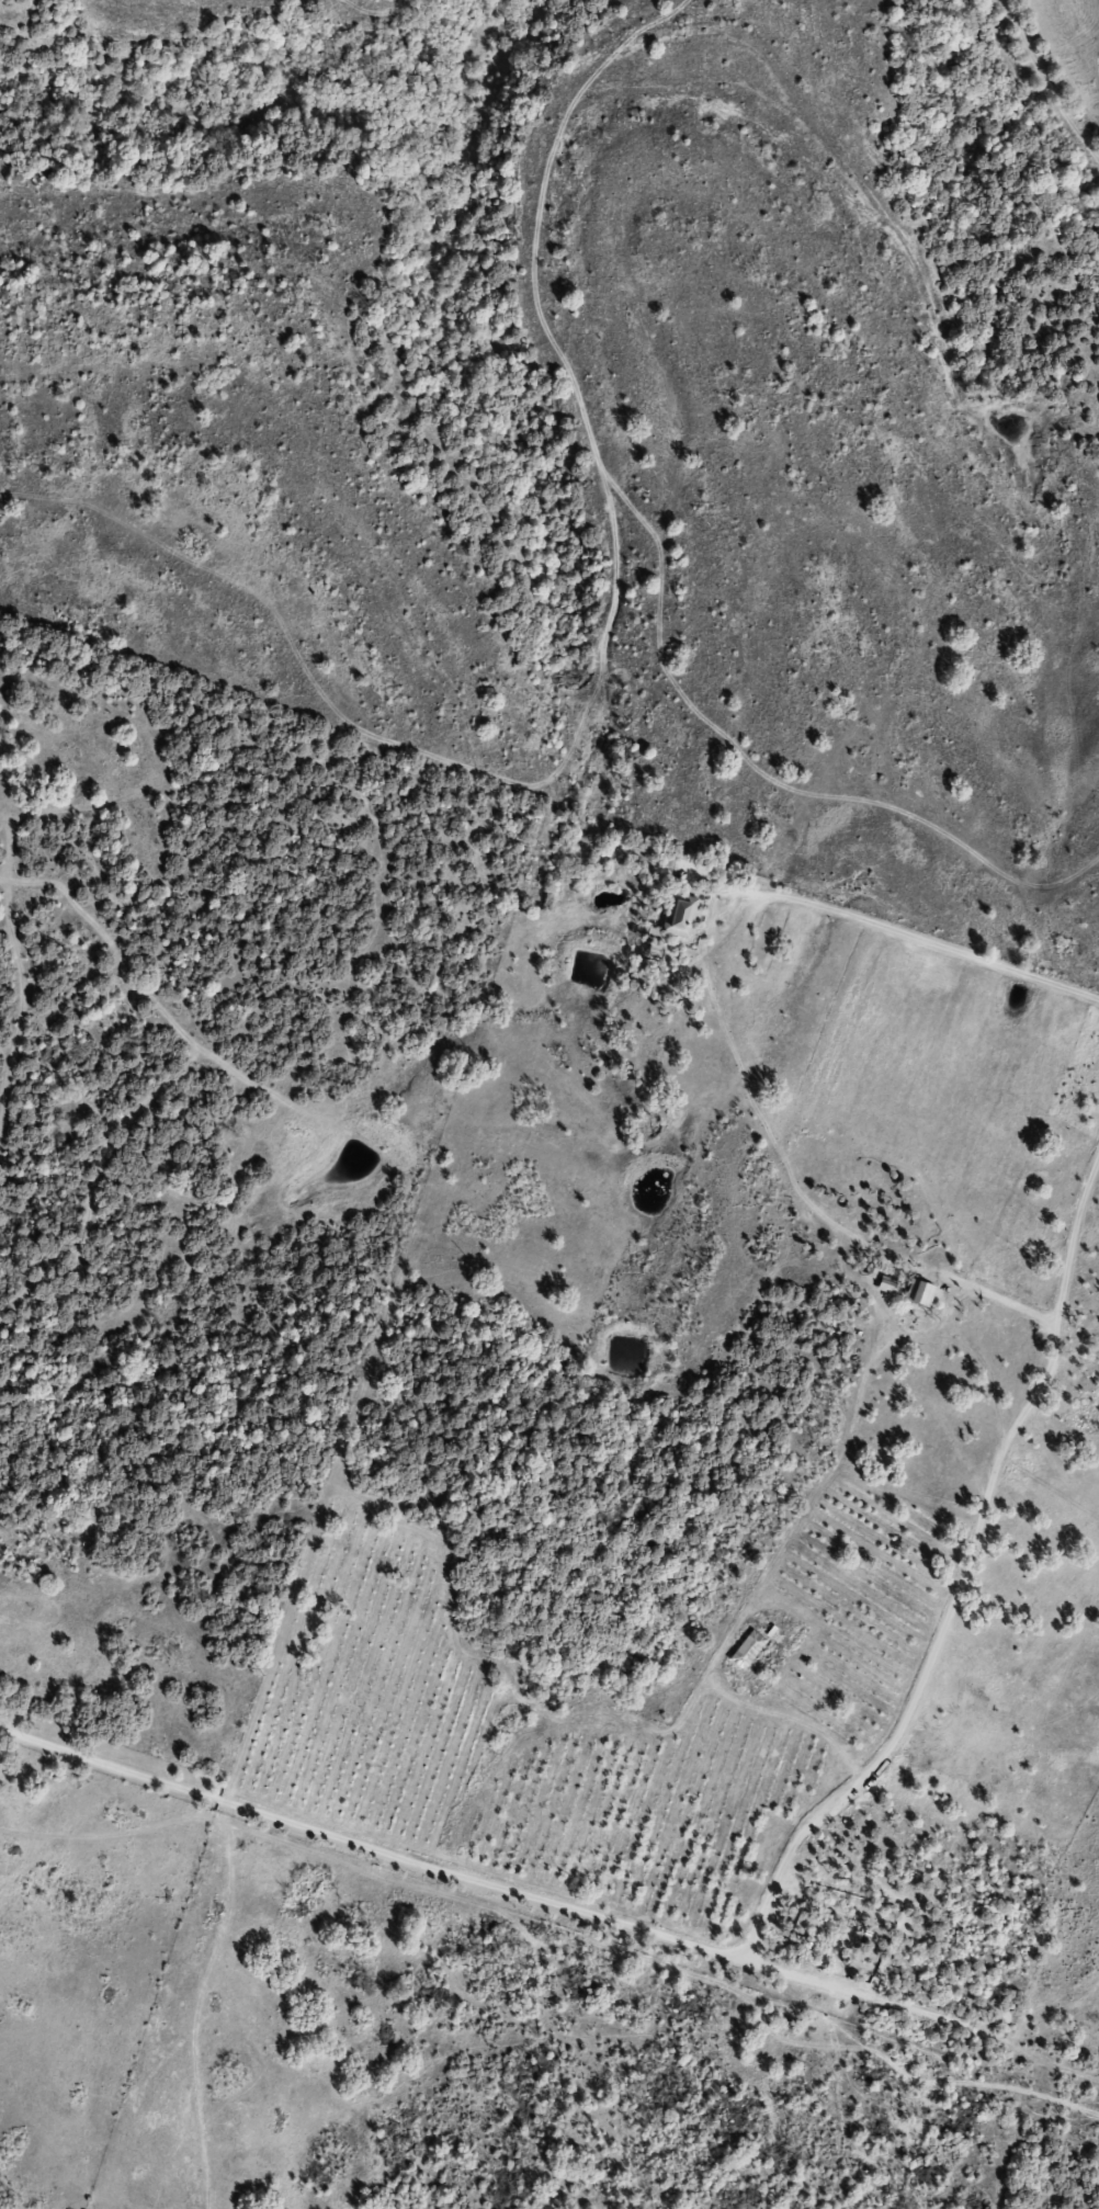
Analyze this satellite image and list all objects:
building: (893, 1285)
building: (925, 1292)

